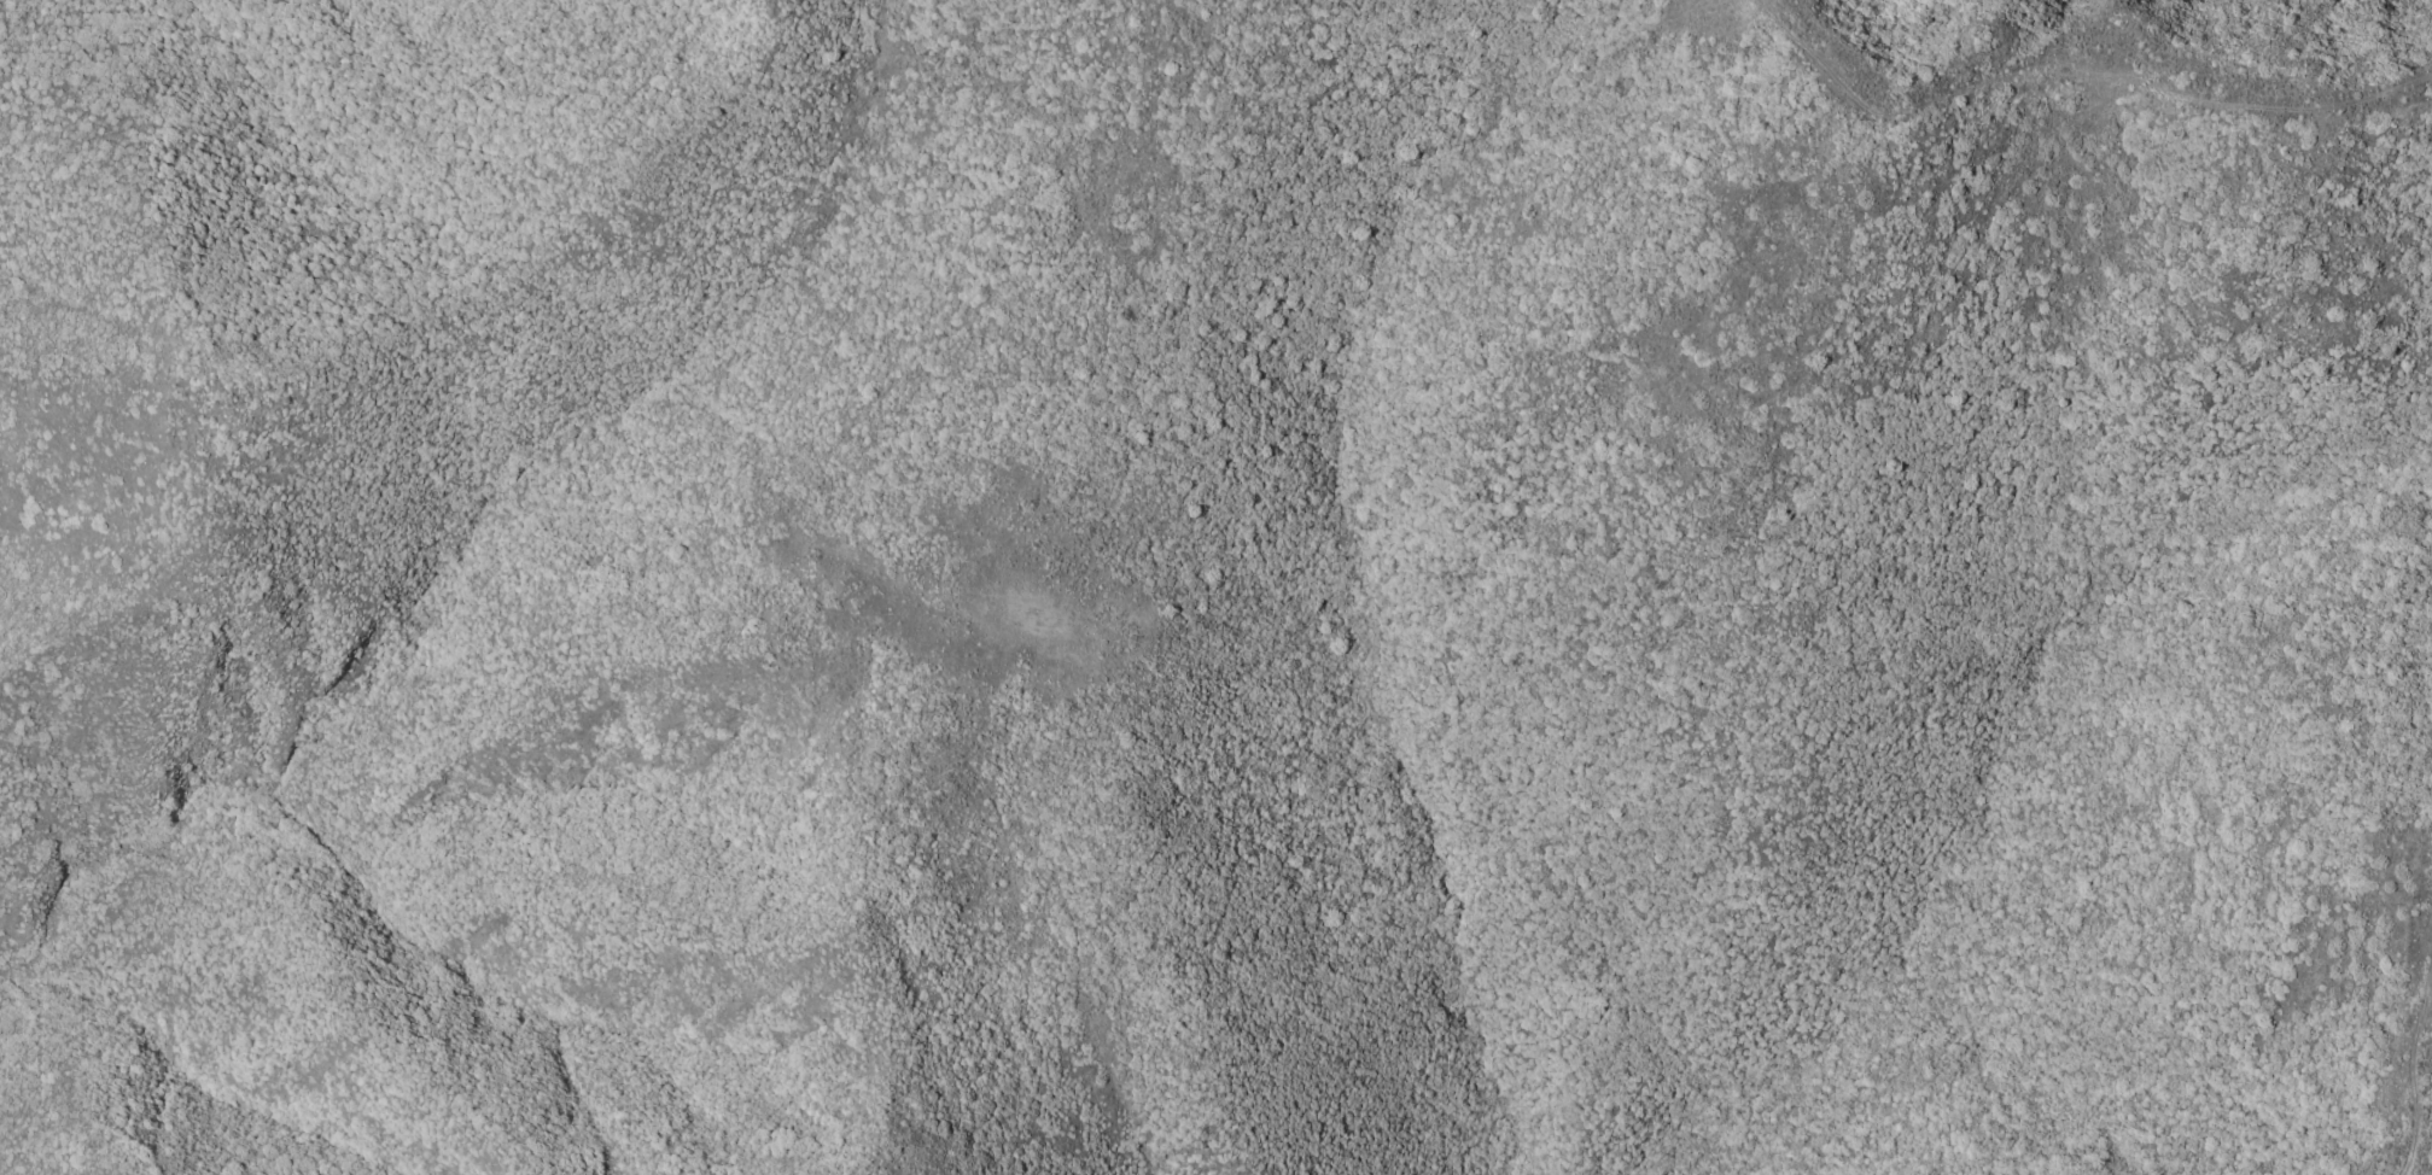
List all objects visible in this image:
road: (2414, 1072)

